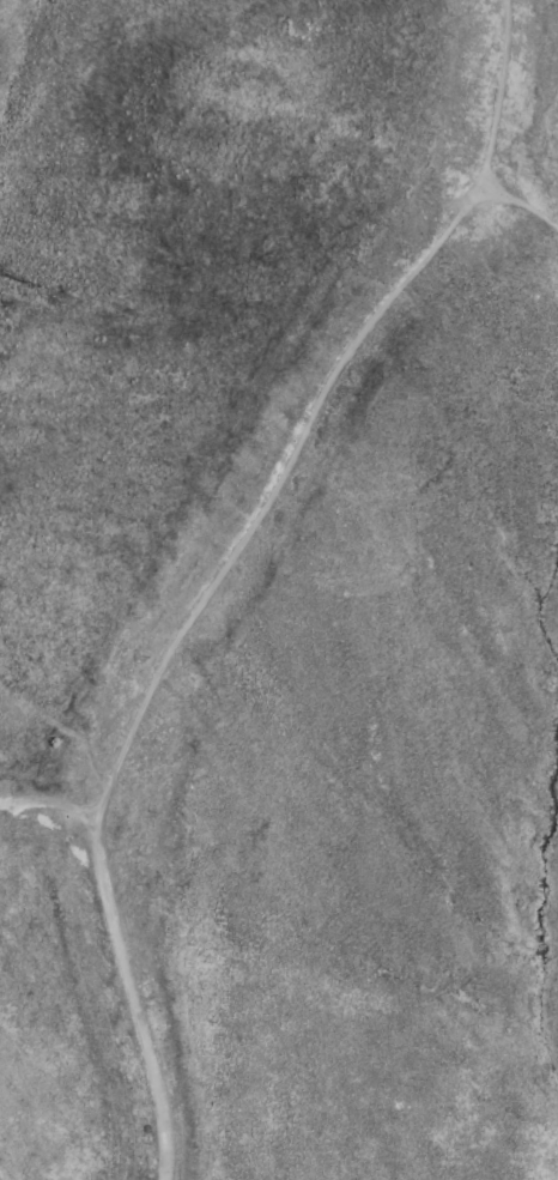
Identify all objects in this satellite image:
road: (495, 93)
road: (523, 205)
road: (266, 489)
road: (50, 803)
road: (128, 998)

